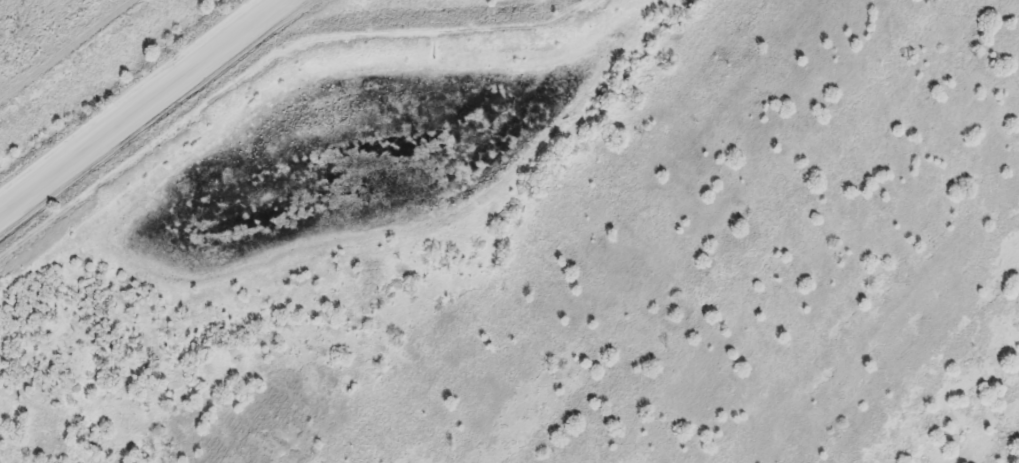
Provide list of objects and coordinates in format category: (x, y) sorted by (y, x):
road: (137, 102)
quarry: (517, 234)

